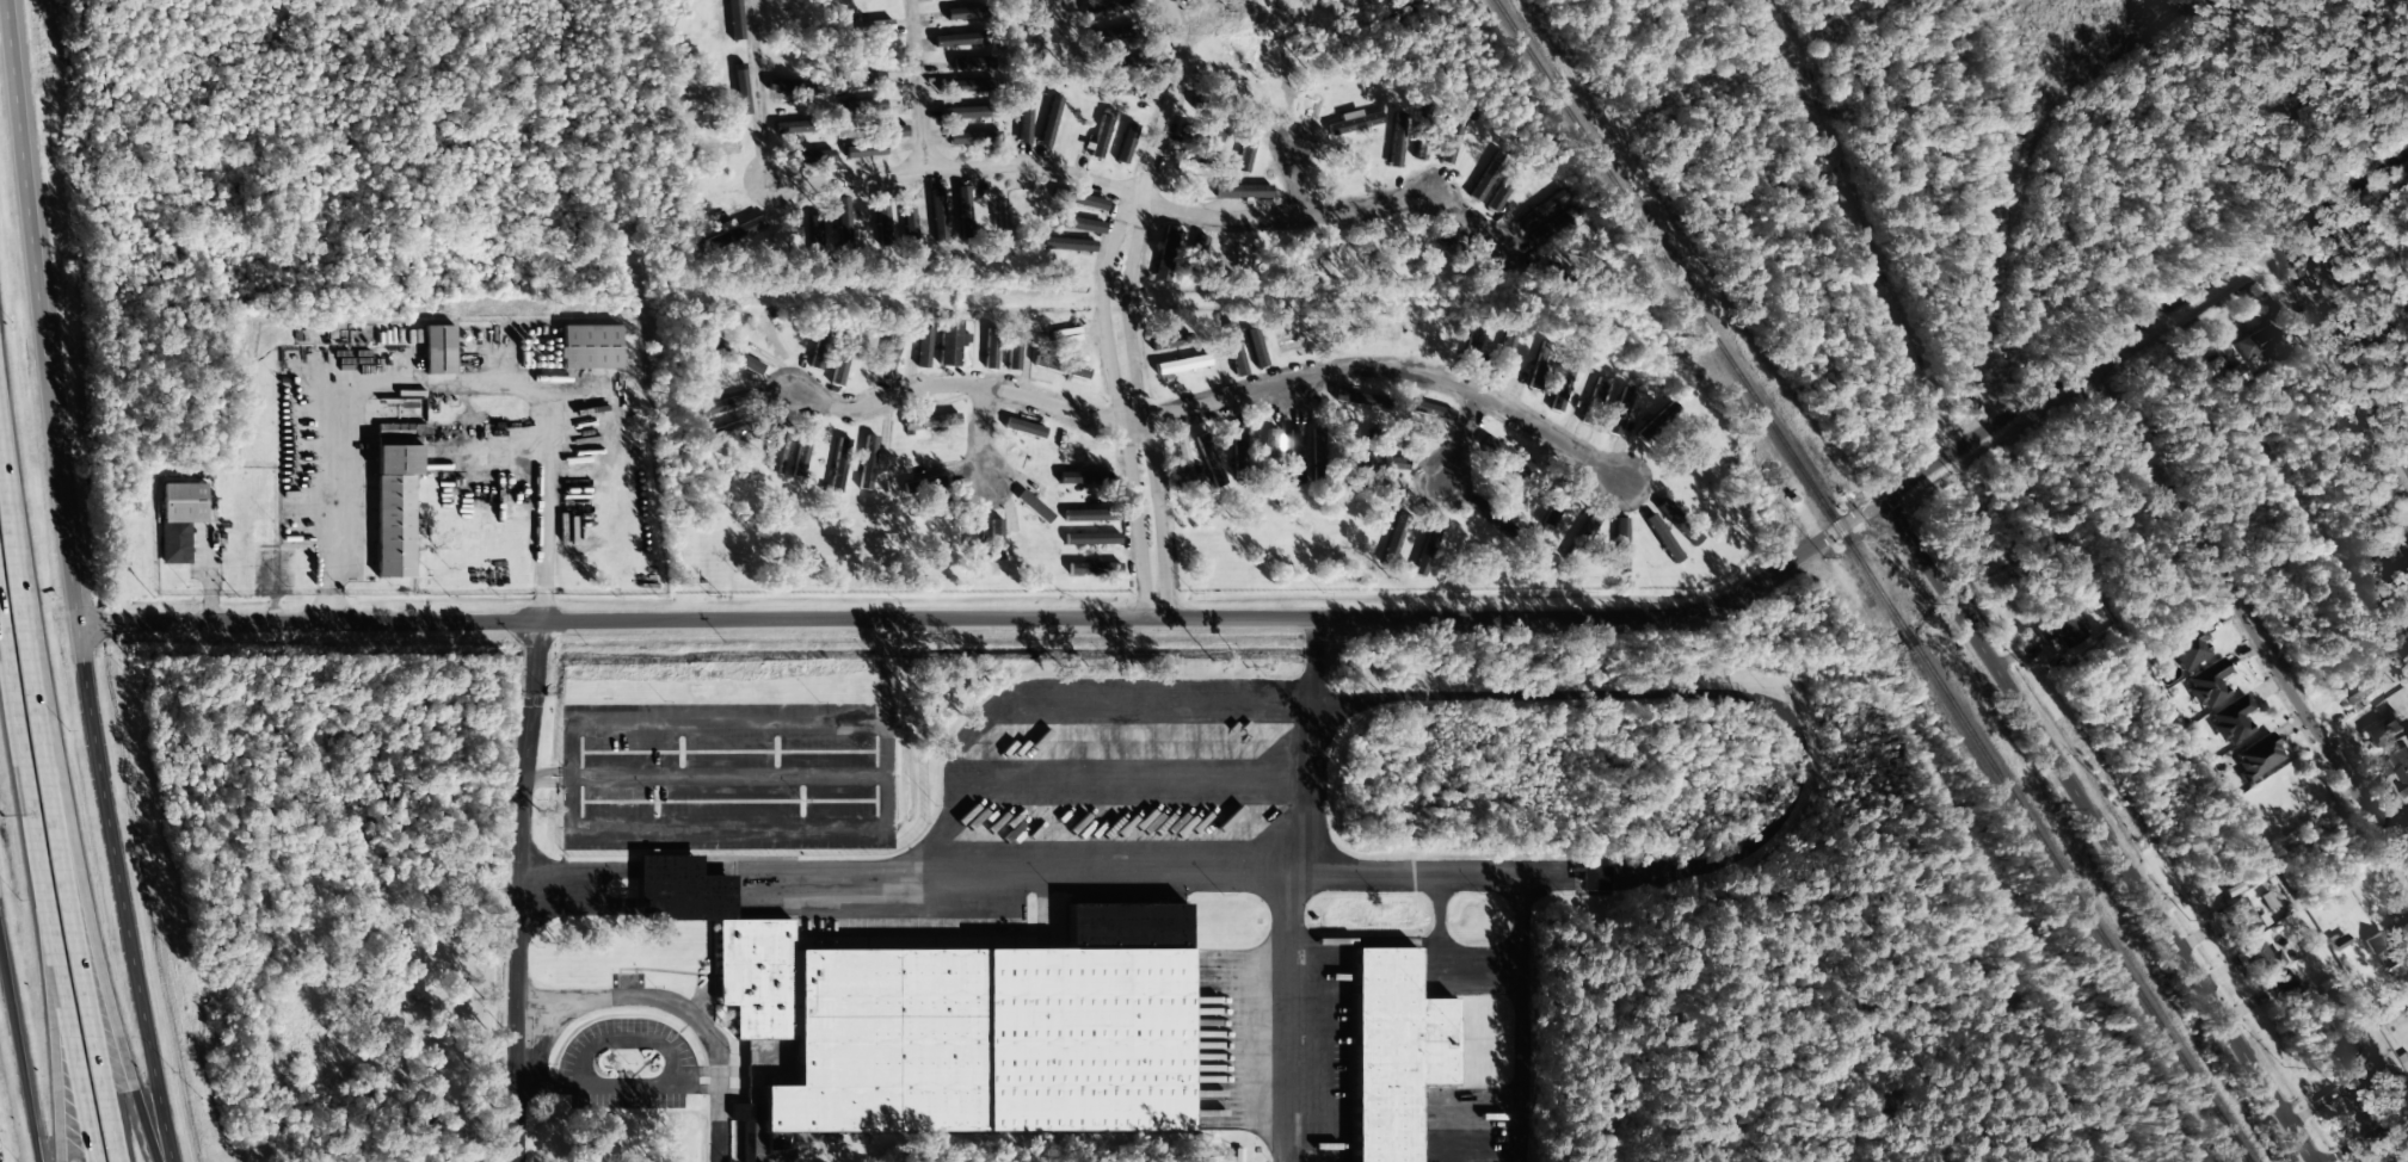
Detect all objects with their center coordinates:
building: (965, 13)
building: (864, 26)
building: (1122, 62)
building: (972, 63)
road: (914, 86)
building: (967, 86)
building: (1117, 87)
road: (1171, 92)
building: (862, 106)
building: (965, 112)
building: (1023, 118)
building: (1049, 122)
building: (1353, 122)
building: (885, 132)
building: (1211, 135)
building: (972, 137)
building: (1452, 137)
building: (1100, 138)
building: (1396, 140)
building: (1125, 143)
building: (1246, 146)
building: (864, 150)
building: (1193, 168)
road: (863, 179)
road: (1292, 180)
building: (1483, 180)
building: (1243, 192)
building: (1082, 202)
building: (1541, 209)
building: (963, 212)
road: (1332, 214)
building: (937, 215)
building: (996, 217)
building: (881, 218)
building: (907, 220)
building: (842, 222)
building: (1078, 224)
building: (1066, 245)
building: (1199, 246)
building: (1231, 252)
building: (1165, 253)
building: (2338, 262)
building: (1166, 342)
building: (950, 344)
building: (1289, 344)
building: (590, 347)
building: (923, 347)
building: (1255, 347)
building: (990, 348)
building: (439, 350)
building: (819, 350)
building: (1012, 350)
building: (1232, 350)
building: (2255, 353)
building: (1503, 354)
building: (734, 356)
building: (889, 356)
road: (2338, 357)
building: (842, 360)
building: (1182, 364)
road: (1394, 366)
building: (1060, 367)
building: (1536, 377)
road: (954, 385)
building: (1562, 385)
building: (1597, 393)
road: (1116, 395)
building: (1357, 398)
road: (1138, 400)
building: (721, 406)
building: (1430, 410)
building: (1619, 412)
building: (1661, 419)
road: (1132, 420)
building: (1023, 428)
road: (1459, 438)
road: (979, 440)
building: (1317, 444)
building: (1238, 445)
building: (778, 453)
building: (1504, 456)
building: (1294, 457)
building: (800, 458)
building: (867, 463)
building: (838, 465)
building: (925, 481)
building: (395, 505)
building: (1034, 507)
building: (1088, 515)
building: (180, 519)
building: (1091, 538)
building: (972, 539)
building: (994, 539)
building: (1620, 545)
building: (1094, 568)
railway: (1870, 581)
road: (72, 588)
road: (1310, 618)
road: (2246, 619)
building: (2062, 628)
building: (2188, 648)
building: (2207, 684)
building: (2357, 687)
building: (2231, 719)
building: (2382, 729)
building: (2256, 758)
building: (2398, 769)
road: (55, 793)
road: (2101, 830)
building: (1595, 878)
road: (42, 890)
road: (521, 891)
building: (2243, 919)
building: (2385, 948)
building: (2264, 958)
building: (2285, 990)
road: (648, 1003)
road: (107, 1008)
building: (966, 1010)
road: (53, 1036)
building: (1408, 1049)
road: (18, 1061)
building: (2360, 1094)
building: (747, 1124)
road: (2372, 1138)

